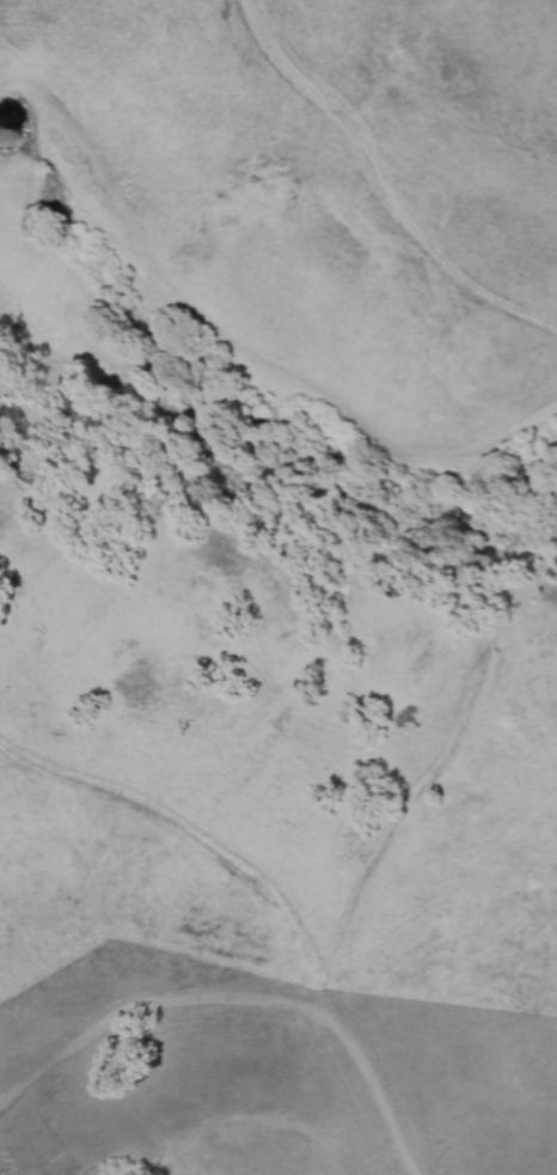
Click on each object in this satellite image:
road: (437, 99)
road: (381, 183)
road: (241, 341)
road: (437, 773)
road: (188, 829)
road: (439, 885)
road: (244, 996)
road: (323, 997)

